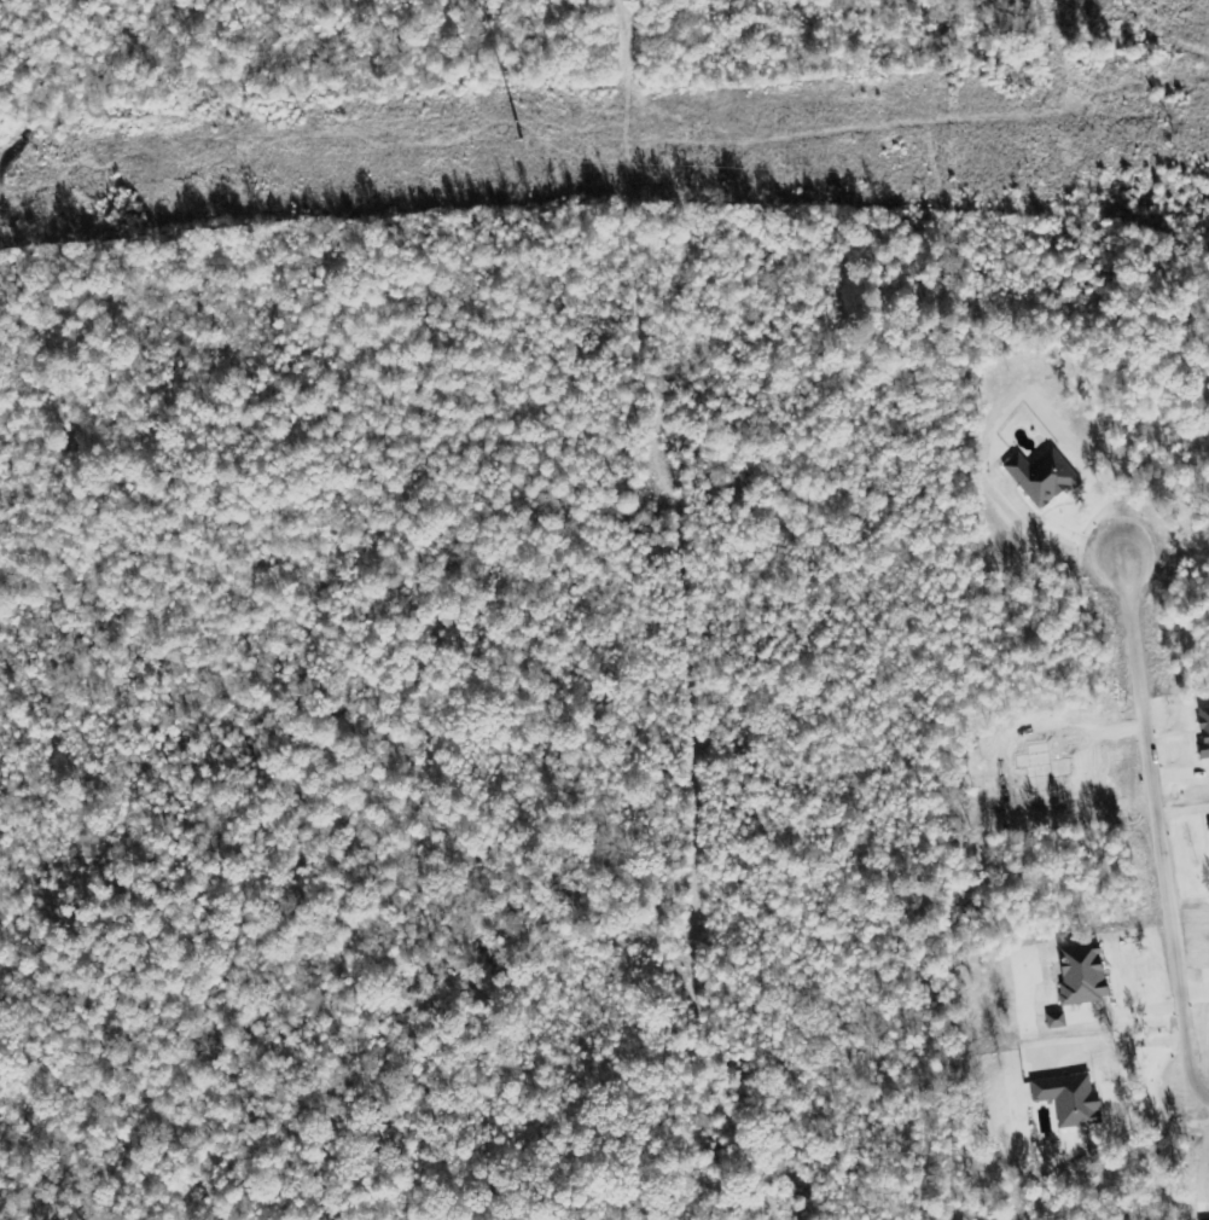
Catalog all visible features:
power tower: (540, 136)
building: (1044, 477)
building: (1204, 732)
building: (1083, 974)
building: (1070, 1099)

